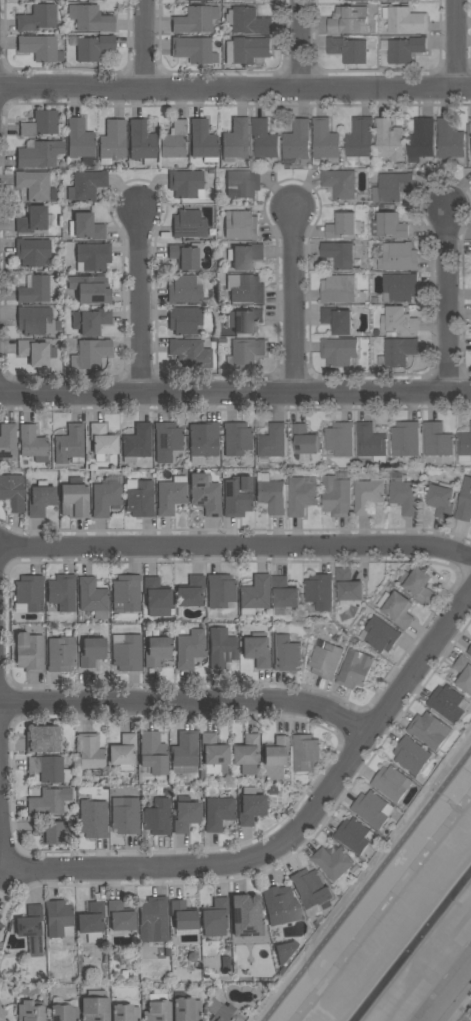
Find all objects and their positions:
building: (89, 0)
building: (203, 0)
building: (239, 0)
building: (38, 18)
building: (90, 18)
building: (196, 20)
building: (247, 20)
building: (349, 20)
building: (406, 20)
road: (301, 44)
road: (457, 44)
road: (145, 45)
building: (41, 48)
building: (94, 48)
building: (404, 48)
building: (349, 49)
building: (193, 50)
building: (247, 50)
road: (235, 89)
building: (41, 124)
building: (470, 125)
building: (264, 139)
building: (360, 139)
building: (421, 139)
building: (450, 139)
building: (236, 140)
building: (298, 140)
building: (326, 140)
building: (173, 141)
building: (202, 141)
building: (80, 142)
building: (112, 142)
building: (389, 142)
building: (142, 143)
building: (39, 155)
building: (340, 182)
building: (243, 183)
building: (186, 184)
building: (35, 185)
building: (86, 185)
building: (393, 186)
building: (32, 220)
building: (189, 225)
building: (241, 225)
building: (343, 225)
building: (390, 225)
building: (86, 227)
building: (32, 252)
building: (339, 254)
building: (187, 256)
building: (245, 256)
building: (399, 256)
building: (93, 257)
building: (400, 287)
building: (339, 288)
building: (91, 289)
building: (246, 289)
building: (37, 290)
building: (185, 290)
road: (449, 299)
road: (141, 300)
road: (296, 300)
building: (338, 319)
building: (184, 320)
building: (243, 320)
building: (37, 321)
building: (91, 321)
building: (399, 321)
building: (222, 342)
building: (340, 351)
building: (36, 352)
building: (245, 352)
building: (398, 352)
building: (190, 353)
building: (90, 354)
road: (235, 393)
building: (340, 438)
building: (405, 438)
building: (237, 439)
building: (305, 439)
building: (437, 439)
building: (102, 440)
building: (8, 441)
building: (167, 441)
building: (203, 441)
building: (272, 441)
building: (371, 441)
building: (137, 443)
building: (33, 444)
building: (70, 445)
building: (464, 445)
building: (305, 457)
building: (12, 492)
building: (270, 493)
building: (369, 493)
building: (206, 494)
building: (302, 494)
building: (171, 496)
building: (337, 496)
building: (405, 496)
building: (237, 497)
building: (106, 498)
building: (139, 498)
building: (74, 499)
building: (442, 499)
building: (41, 500)
building: (465, 501)
road: (236, 548)
building: (349, 585)
building: (419, 585)
building: (221, 590)
building: (320, 591)
building: (191, 592)
building: (285, 592)
building: (29, 594)
building: (62, 594)
building: (126, 594)
building: (255, 595)
building: (157, 597)
building: (93, 598)
building: (398, 608)
building: (68, 633)
building: (380, 634)
building: (221, 648)
building: (190, 649)
building: (257, 650)
building: (157, 651)
building: (469, 651)
building: (28, 652)
building: (92, 652)
building: (127, 652)
building: (286, 653)
building: (61, 654)
building: (326, 659)
road: (420, 663)
building: (356, 668)
building: (464, 671)
building: (448, 703)
road: (188, 704)
building: (431, 729)
building: (45, 740)
building: (277, 752)
building: (306, 752)
building: (91, 753)
building: (123, 753)
building: (153, 753)
building: (185, 753)
building: (247, 754)
building: (413, 755)
building: (215, 756)
building: (49, 770)
building: (202, 776)
building: (393, 782)
building: (272, 789)
building: (49, 801)
building: (250, 806)
building: (374, 808)
building: (219, 812)
building: (186, 815)
building: (125, 816)
building: (158, 817)
building: (93, 819)
building: (53, 832)
building: (355, 835)
road: (2, 856)
building: (336, 862)
road: (215, 865)
building: (312, 889)
road: (370, 891)
building: (281, 906)
building: (246, 915)
building: (120, 916)
building: (153, 916)
building: (0, 917)
building: (184, 918)
building: (215, 918)
building: (59, 919)
building: (92, 923)
building: (1, 926)
building: (31, 929)
building: (285, 951)
building: (166, 952)
building: (226, 964)
building: (94, 1006)
building: (157, 1008)
building: (185, 1009)
building: (30, 1011)
building: (2, 1012)
building: (63, 1012)
building: (124, 1012)
building: (223, 1012)
building: (7, 1020)

